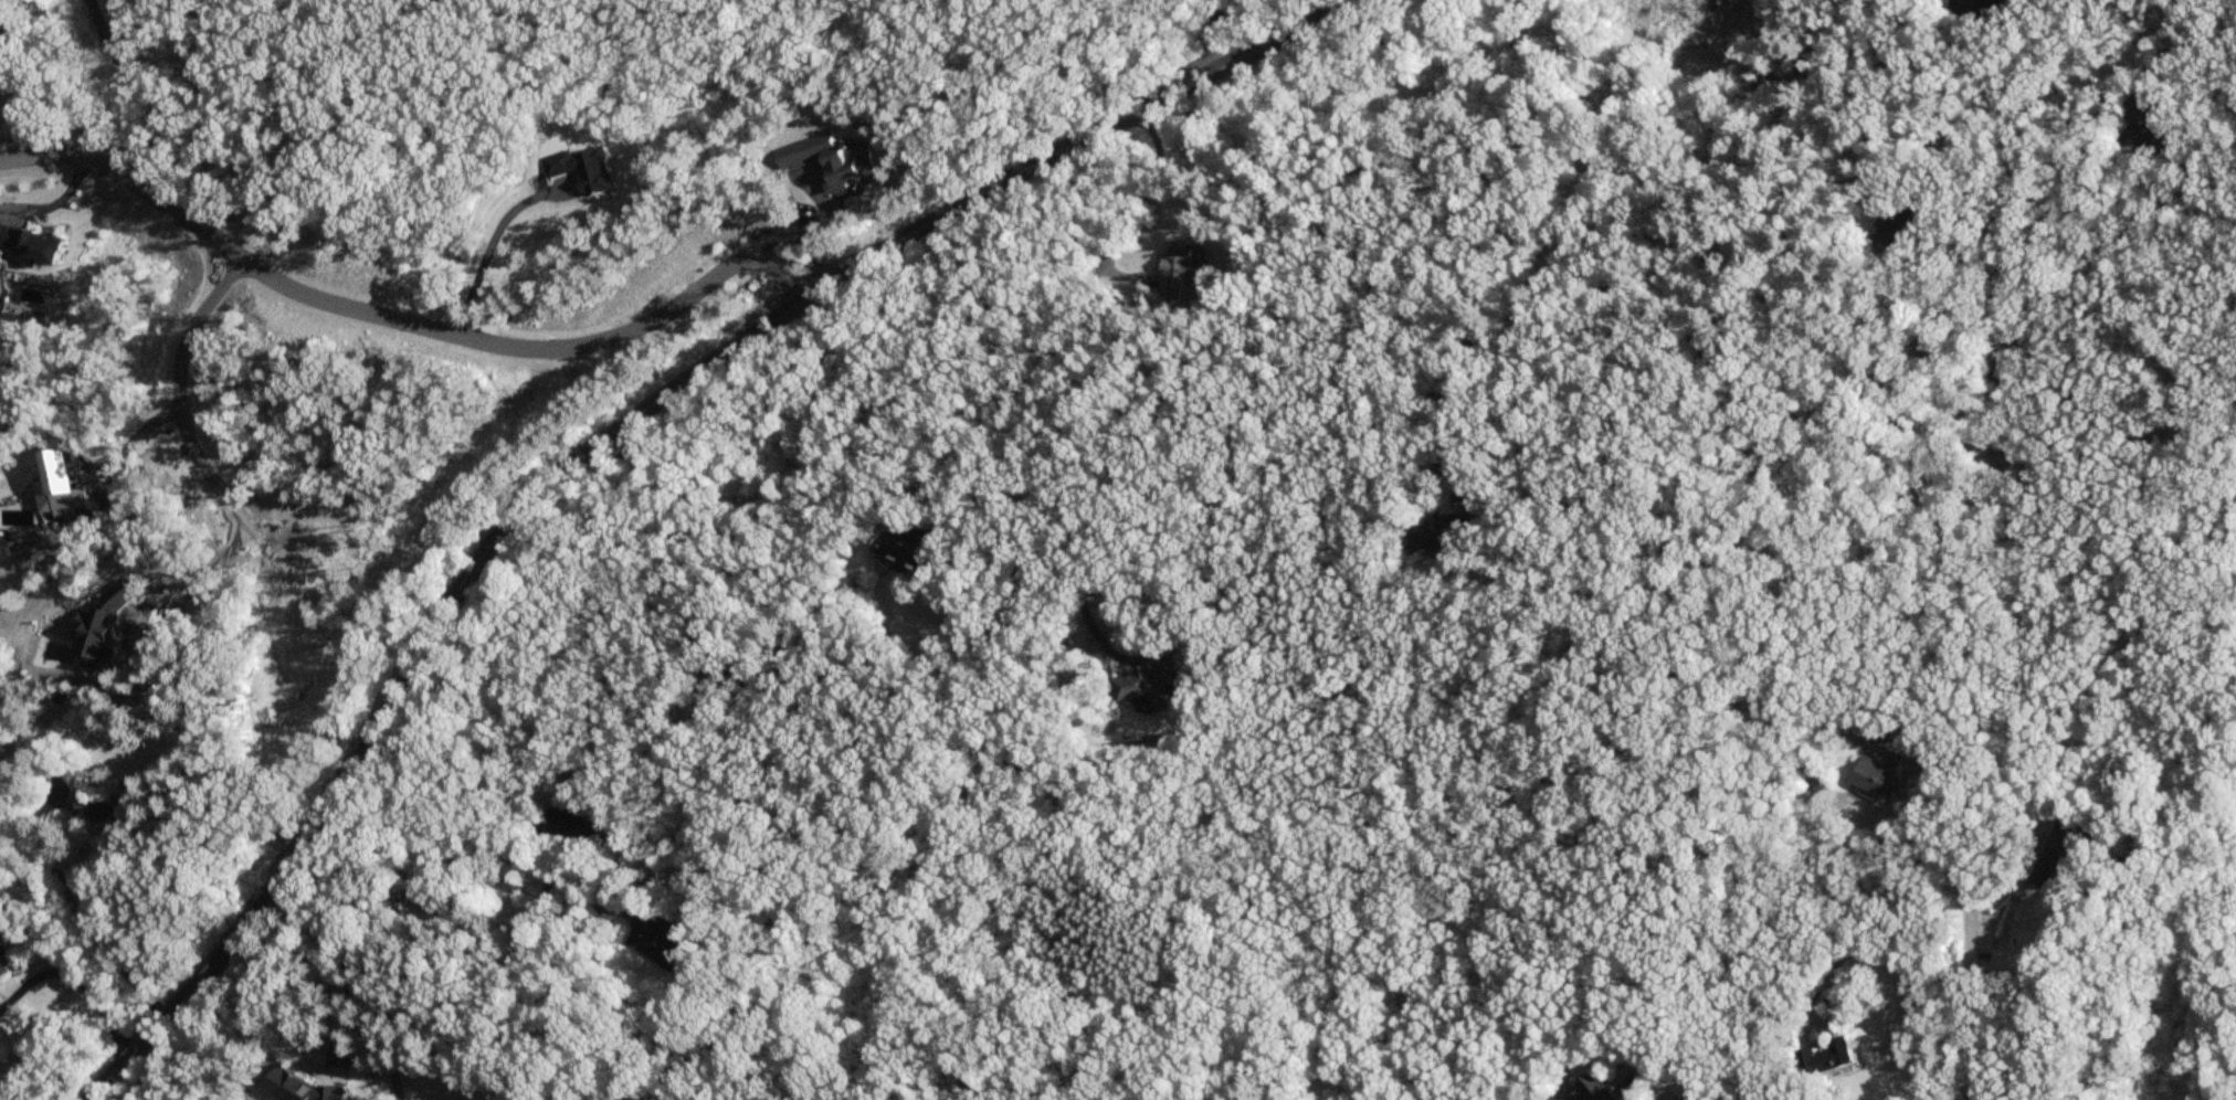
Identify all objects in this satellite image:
building: (1979, 10)
road: (1252, 25)
road: (1213, 35)
road: (141, 88)
road: (2017, 113)
building: (2144, 134)
road: (51, 200)
building: (1895, 230)
road: (488, 239)
road: (400, 321)
road: (1022, 361)
road: (171, 401)
road: (669, 425)
road: (614, 431)
road: (103, 458)
building: (1444, 538)
building: (915, 549)
road: (718, 569)
road: (187, 588)
building: (1151, 686)
building: (1878, 776)
building: (102, 815)
building: (2055, 855)
road: (1952, 870)
road: (73, 909)
building: (4, 961)
road: (1905, 967)
road: (75, 983)
road: (348, 986)
building: (1823, 1058)
building: (1585, 1090)

